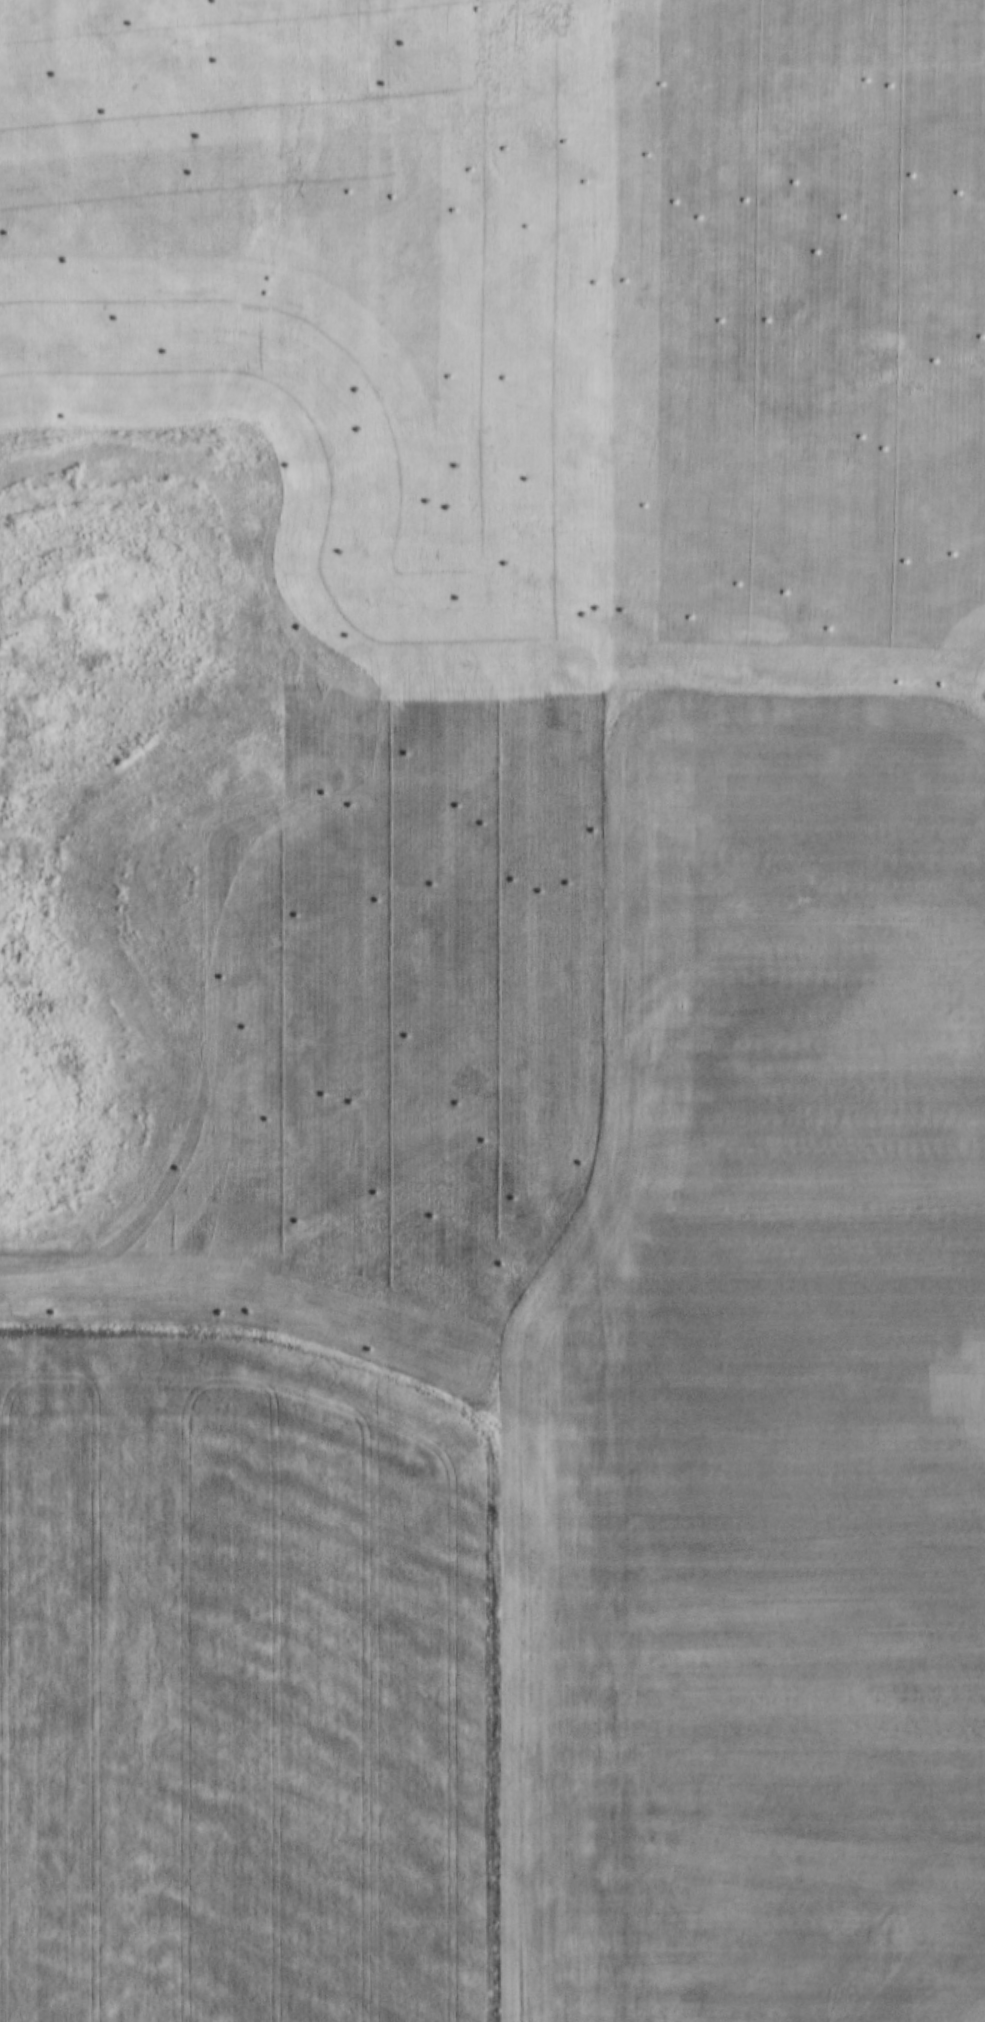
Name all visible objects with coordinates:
quarry: (679, 886)
road: (550, 1367)

